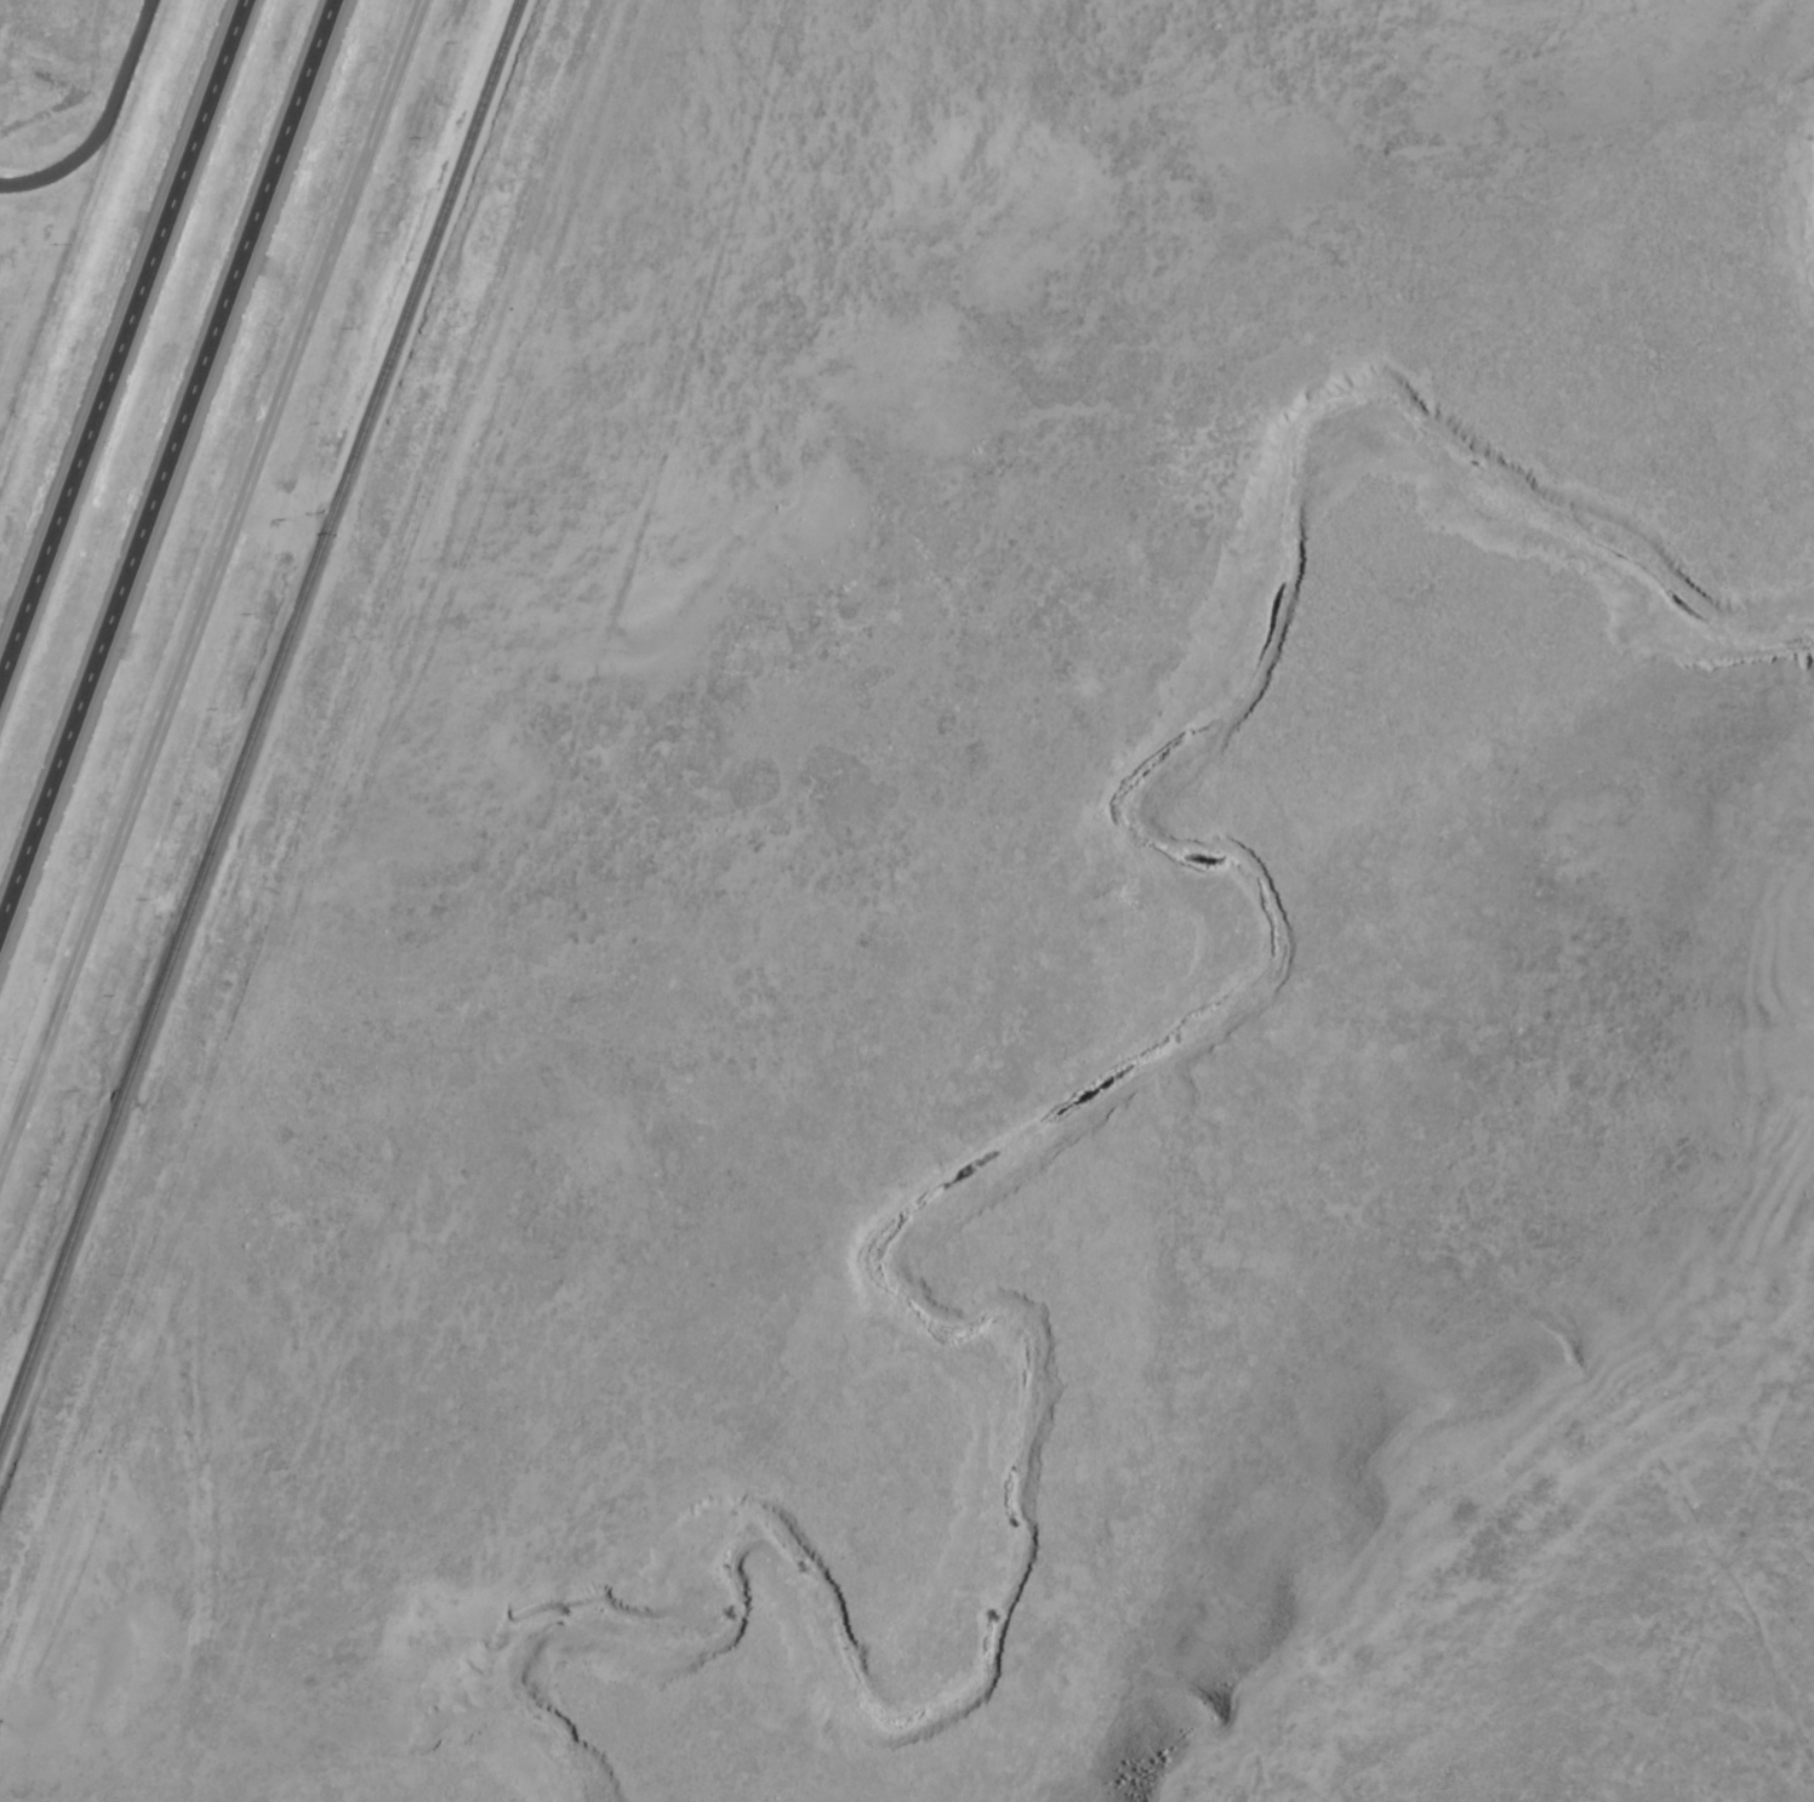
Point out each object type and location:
road: (102, 118)
road: (120, 336)
road: (170, 469)
railway: (320, 546)
road: (199, 551)
railway: (121, 1100)
railway: (58, 1268)

